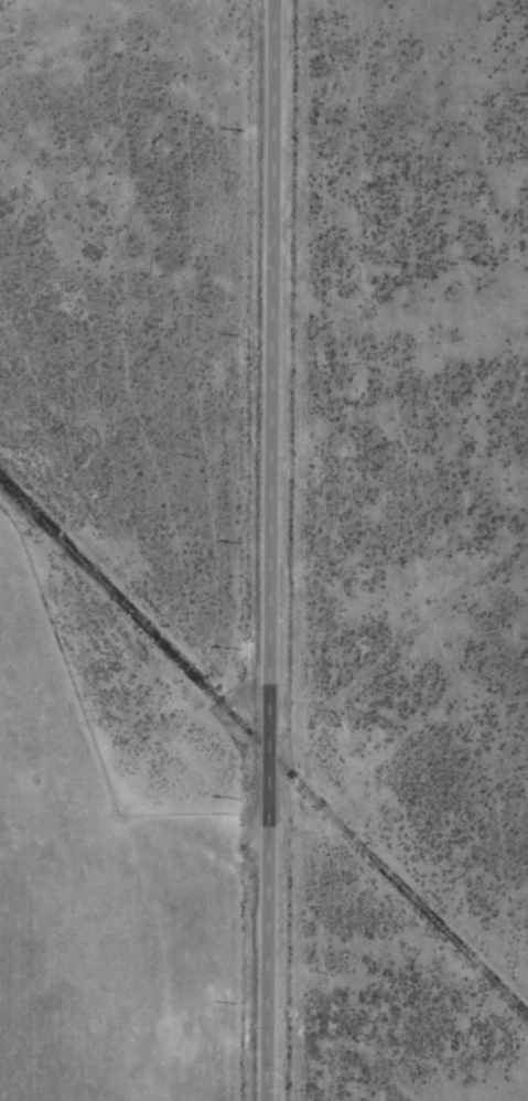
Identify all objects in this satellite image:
crop: (263, 550)
road: (267, 550)
railway: (263, 749)

